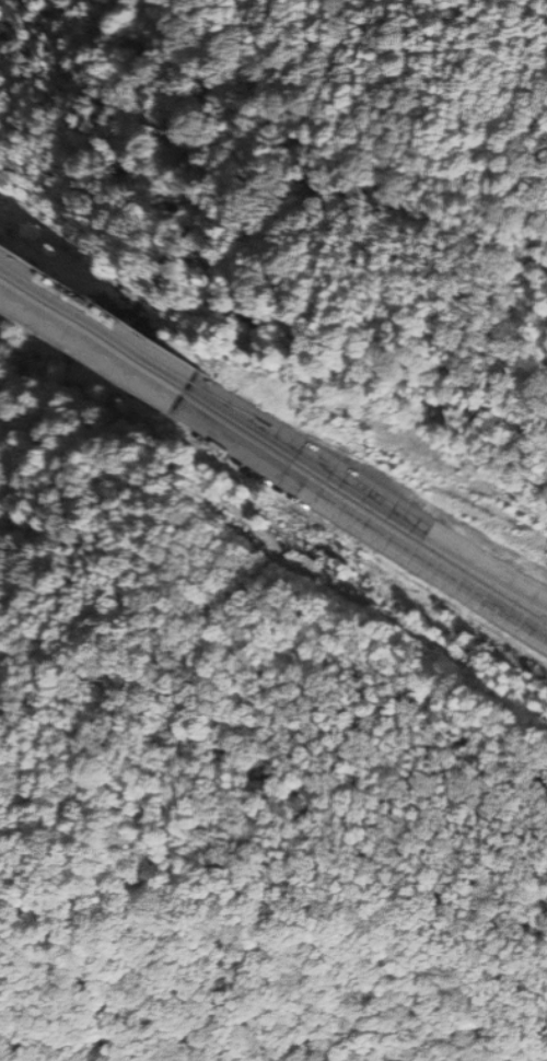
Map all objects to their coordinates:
road: (94, 323)
road: (88, 348)
road: (368, 491)
road: (361, 523)

